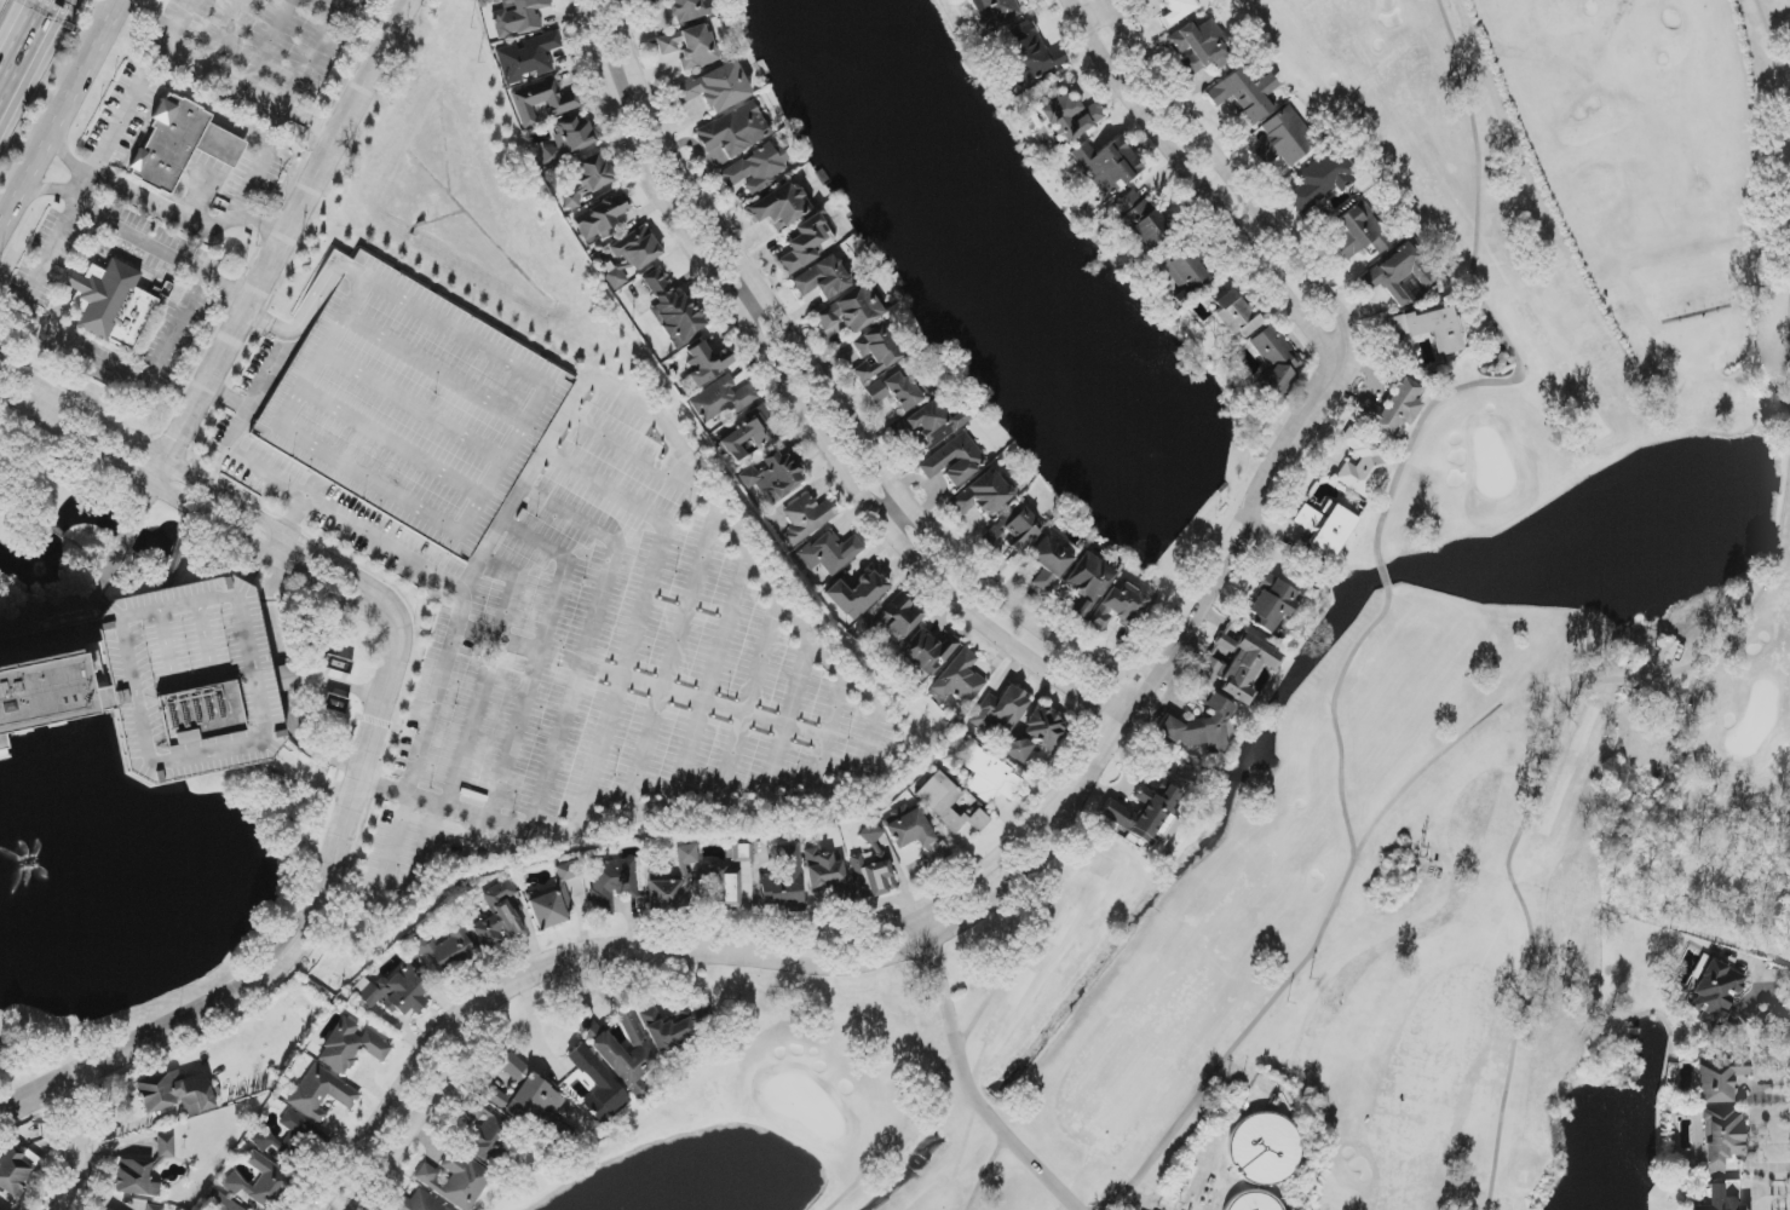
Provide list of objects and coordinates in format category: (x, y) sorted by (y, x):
building: (690, 8)
building: (1178, 10)
building: (995, 12)
road: (1099, 17)
building: (519, 18)
road: (223, 34)
road: (269, 45)
building: (690, 46)
building: (1199, 46)
road: (25, 47)
building: (1029, 54)
road: (316, 57)
building: (526, 57)
road: (228, 80)
road: (625, 87)
building: (716, 87)
building: (1244, 94)
building: (542, 100)
building: (1070, 116)
road: (65, 120)
building: (735, 131)
building: (1284, 138)
building: (568, 140)
building: (180, 144)
road: (219, 150)
road: (68, 163)
building: (1107, 166)
building: (755, 169)
building: (1322, 178)
building: (587, 179)
road: (1242, 183)
road: (1202, 186)
road: (248, 190)
road: (54, 191)
road: (85, 192)
building: (778, 207)
building: (599, 218)
building: (1140, 218)
road: (185, 224)
road: (287, 231)
building: (1360, 232)
building: (804, 244)
road: (162, 255)
building: (632, 255)
building: (1185, 271)
building: (1403, 275)
building: (823, 278)
road: (752, 301)
building: (111, 304)
building: (851, 310)
building: (673, 311)
building: (1236, 315)
building: (1431, 329)
building: (874, 353)
building: (1276, 359)
building: (708, 363)
road: (136, 378)
road: (828, 384)
building: (899, 390)
building: (723, 399)
road: (796, 401)
building: (1393, 408)
building: (937, 422)
road: (238, 425)
building: (746, 434)
building: (954, 461)
building: (1363, 463)
building: (773, 476)
road: (207, 486)
building: (983, 494)
road: (898, 513)
building: (806, 518)
building: (1307, 519)
building: (1015, 529)
building: (1331, 530)
building: (830, 552)
building: (1048, 563)
road: (104, 574)
road: (1216, 576)
building: (1088, 582)
building: (858, 594)
building: (1271, 604)
building: (1118, 606)
building: (892, 621)
road: (455, 627)
building: (928, 652)
building: (1665, 653)
building: (1236, 664)
building: (960, 679)
building: (30, 699)
building: (335, 704)
park: (1392, 704)
helipad: (201, 707)
building: (1000, 710)
building: (1201, 725)
building: (1042, 727)
building: (1015, 750)
building: (990, 777)
building: (948, 802)
building: (1147, 814)
building: (908, 828)
building: (871, 837)
building: (739, 854)
fountain: (28, 860)
building: (568, 870)
building: (874, 875)
building: (783, 881)
building: (672, 883)
building: (611, 885)
building: (721, 886)
building: (549, 906)
road: (926, 906)
building: (499, 917)
road: (942, 938)
road: (298, 944)
building: (443, 946)
road: (597, 950)
building: (396, 991)
building: (1715, 991)
road: (1775, 1015)
building: (673, 1026)
building: (351, 1047)
building: (610, 1053)
road: (968, 1077)
building: (1719, 1079)
building: (598, 1085)
building: (321, 1093)
building: (525, 1095)
road: (388, 1105)
road: (420, 1113)
building: (485, 1128)
building: (289, 1139)
building: (1722, 1139)
road: (81, 1143)
building: (166, 1146)
building: (1266, 1147)
building: (15, 1169)
building: (136, 1179)
building: (456, 1180)
building: (261, 1182)
building: (1722, 1197)
building: (1253, 1202)
building: (419, 1203)
building: (224, 1204)
building: (154, 1208)

